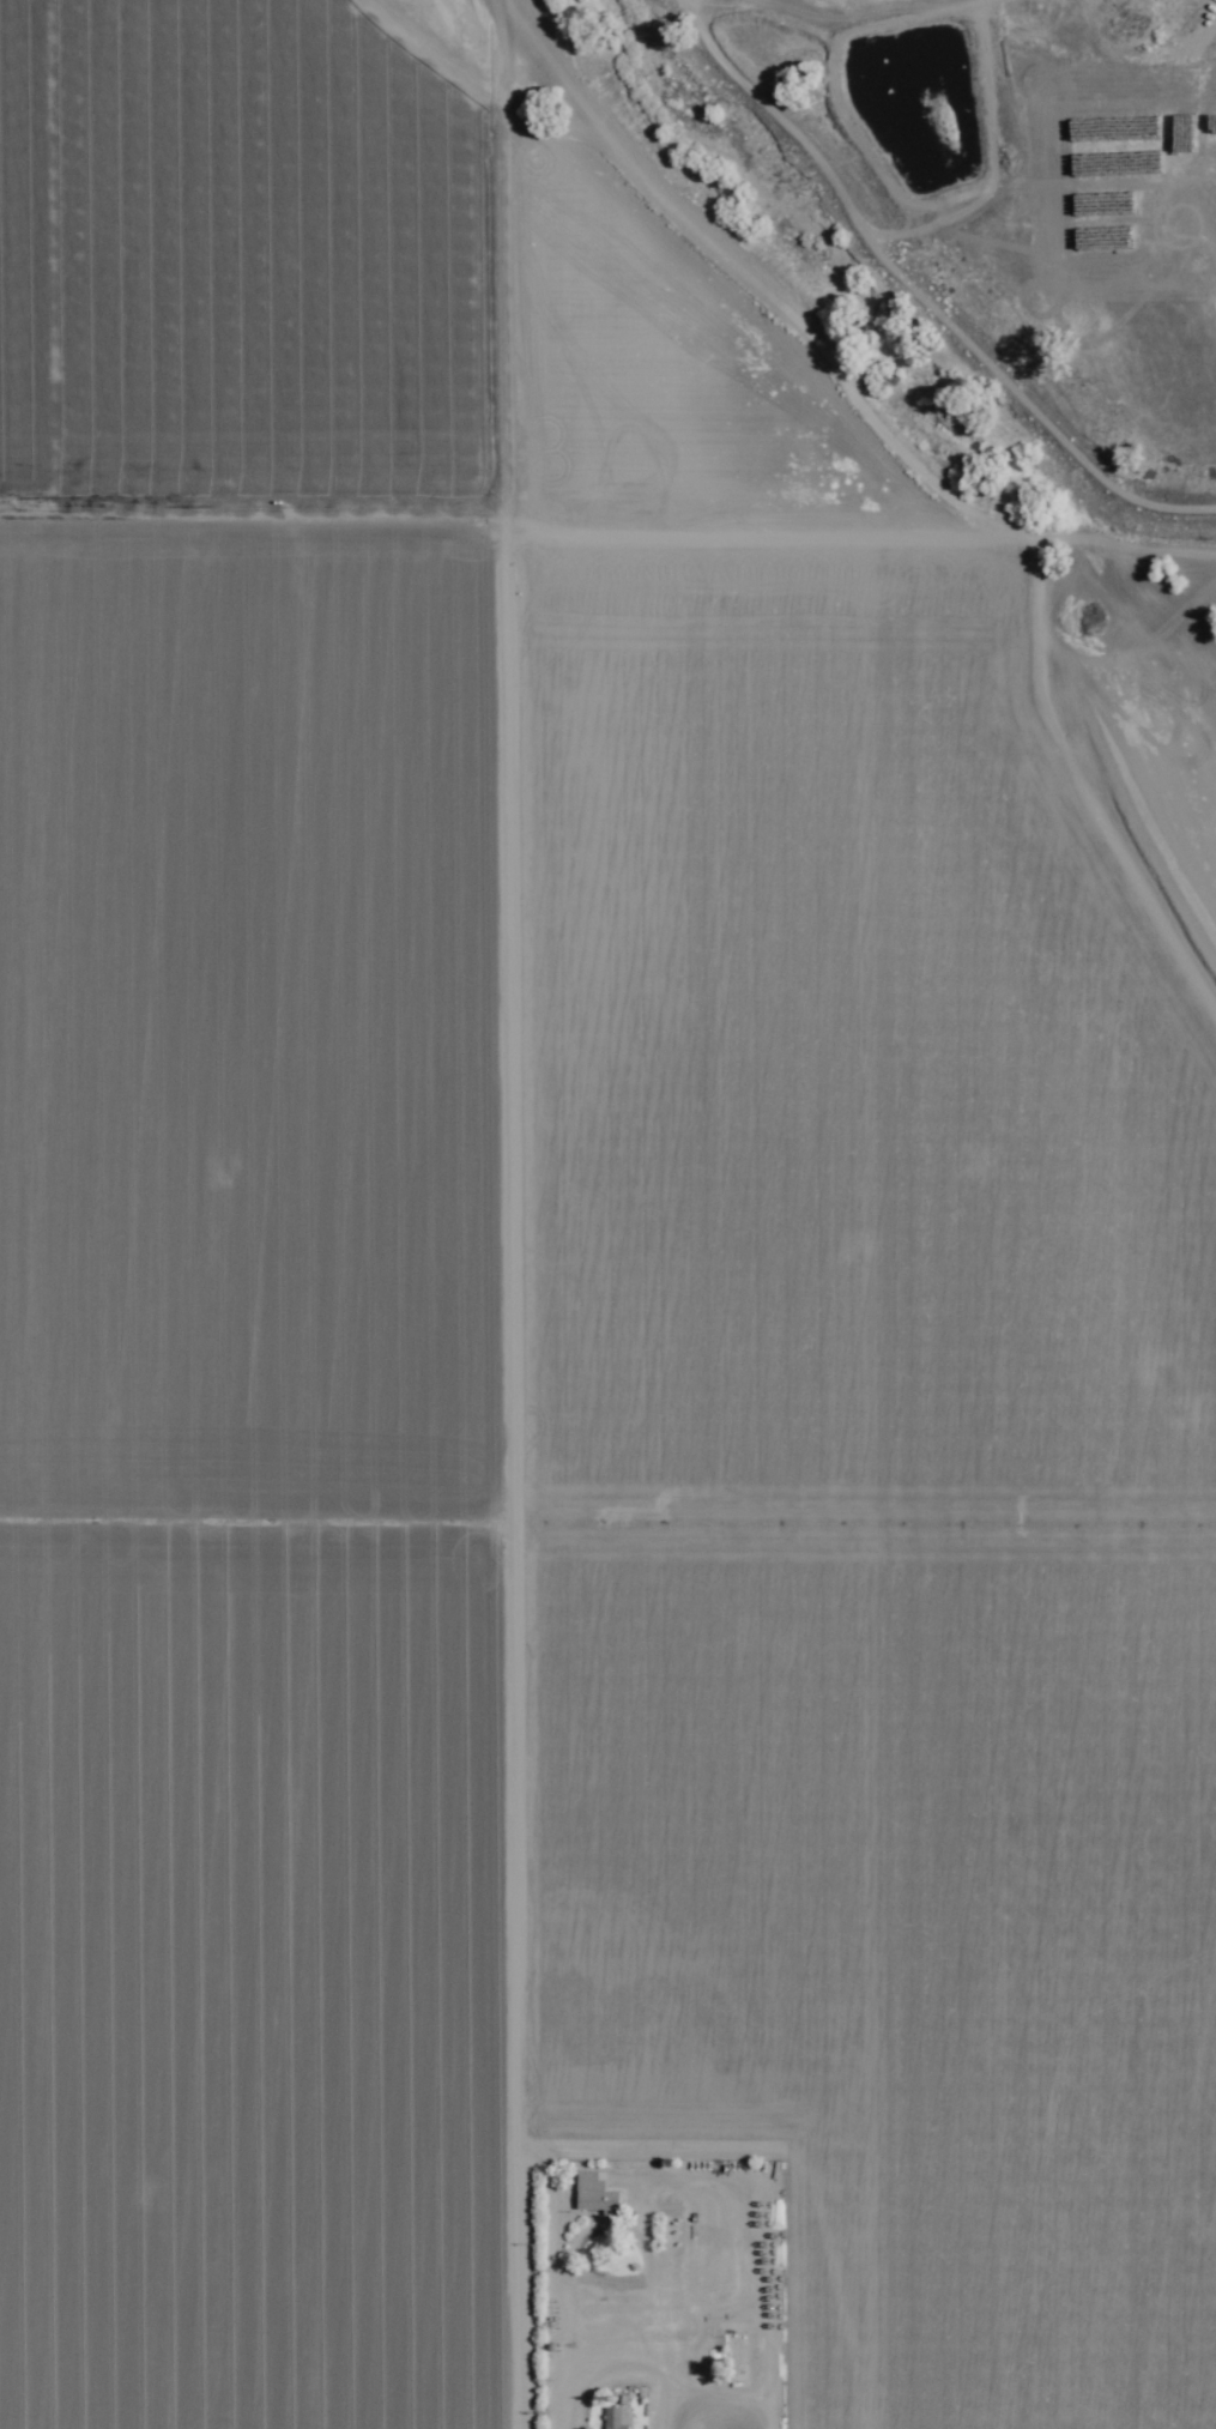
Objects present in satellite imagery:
crop: (1016, 205)
road: (853, 545)
road: (1065, 908)
road: (486, 1214)
crop: (557, 1366)
building: (593, 2195)
building: (616, 2418)
wastewater plant: (715, 2418)

